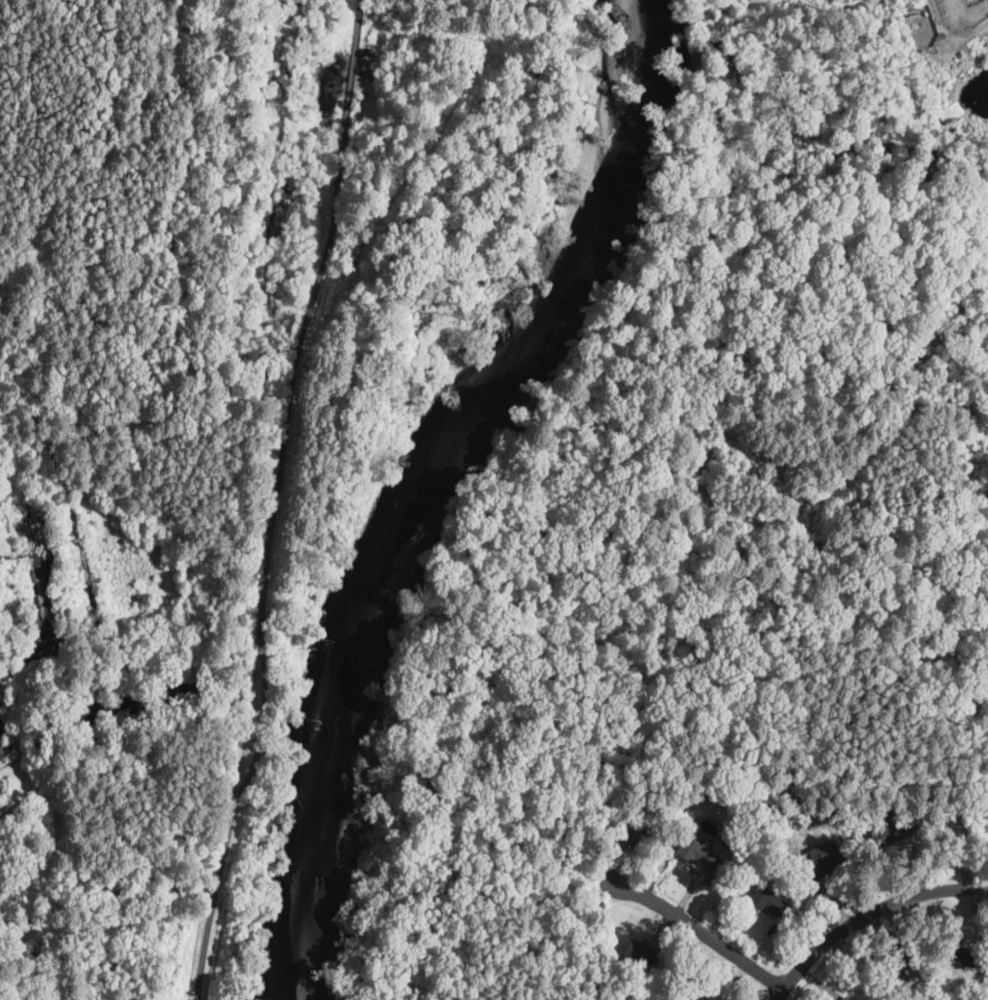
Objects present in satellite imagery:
river: (635, 29)
road: (346, 107)
park: (220, 396)
river: (486, 404)
road: (279, 459)
road: (260, 728)
building: (966, 813)
building: (693, 819)
building: (889, 831)
building: (735, 833)
building: (638, 838)
building: (697, 852)
building: (825, 860)
road: (219, 872)
river: (315, 875)
building: (770, 902)
road: (866, 917)
road: (697, 931)
building: (639, 953)
building: (961, 957)
building: (891, 980)
building: (694, 995)
building: (845, 998)

